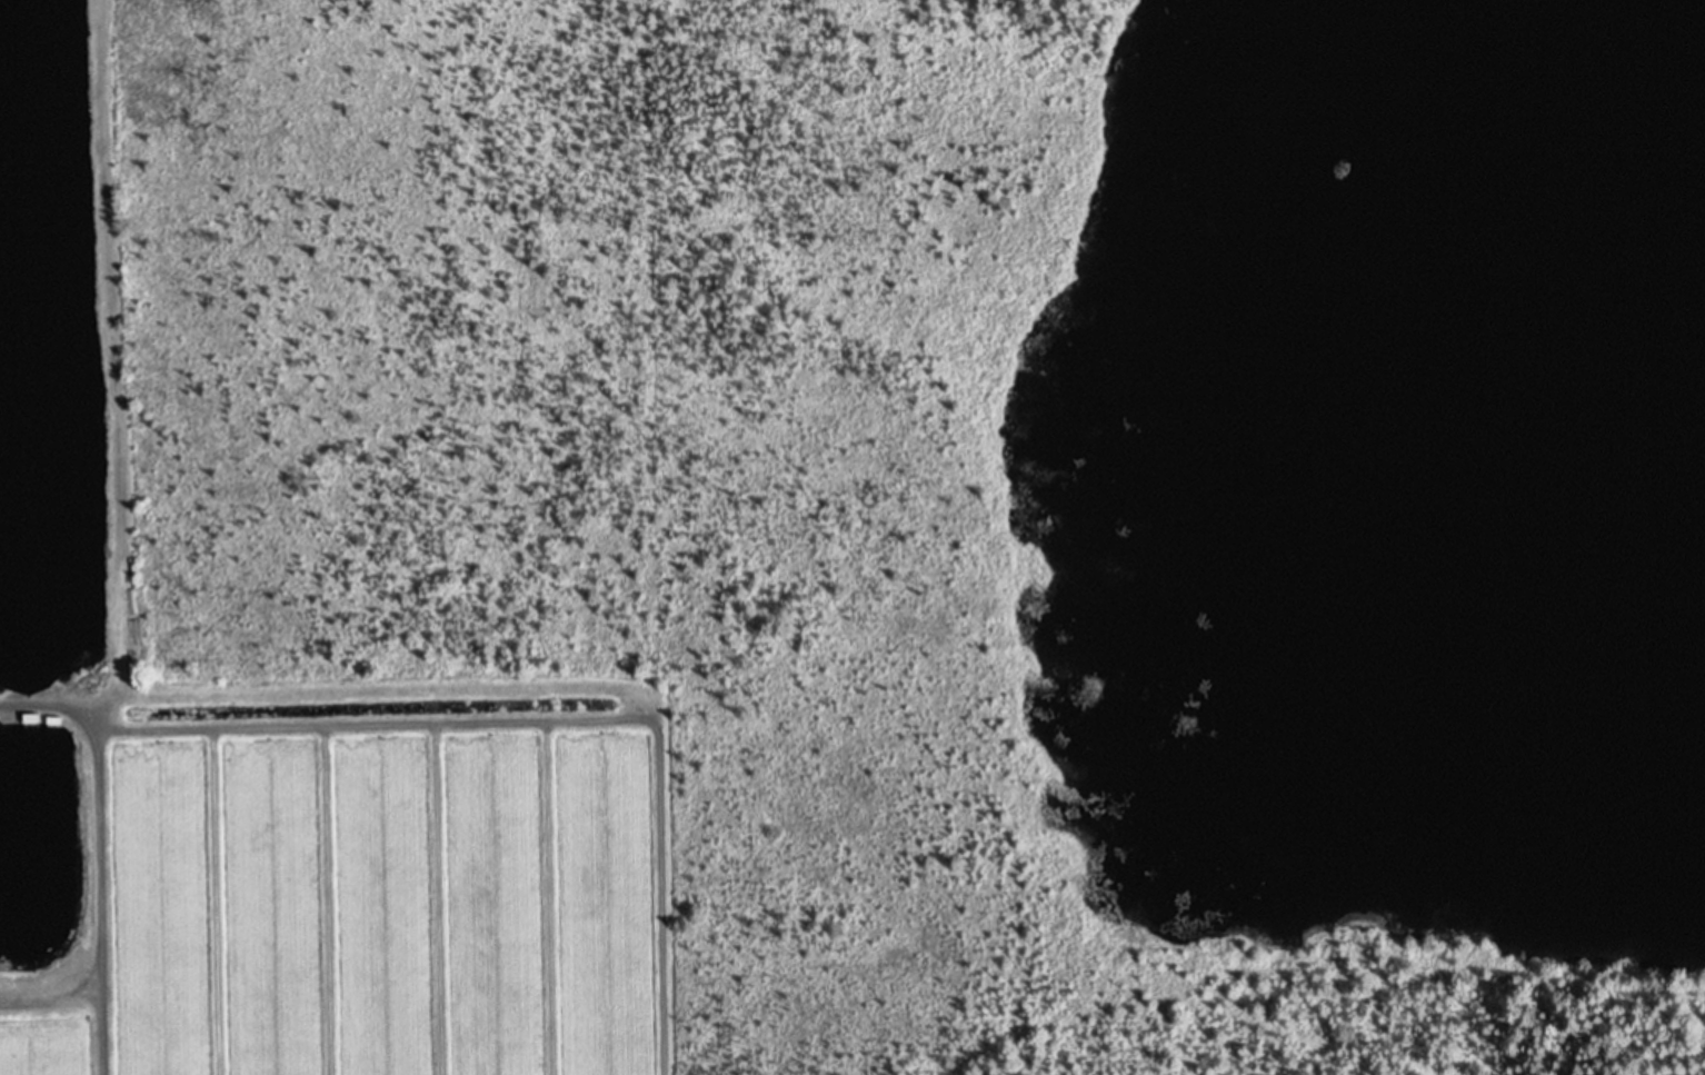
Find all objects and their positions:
crop: (367, 884)

